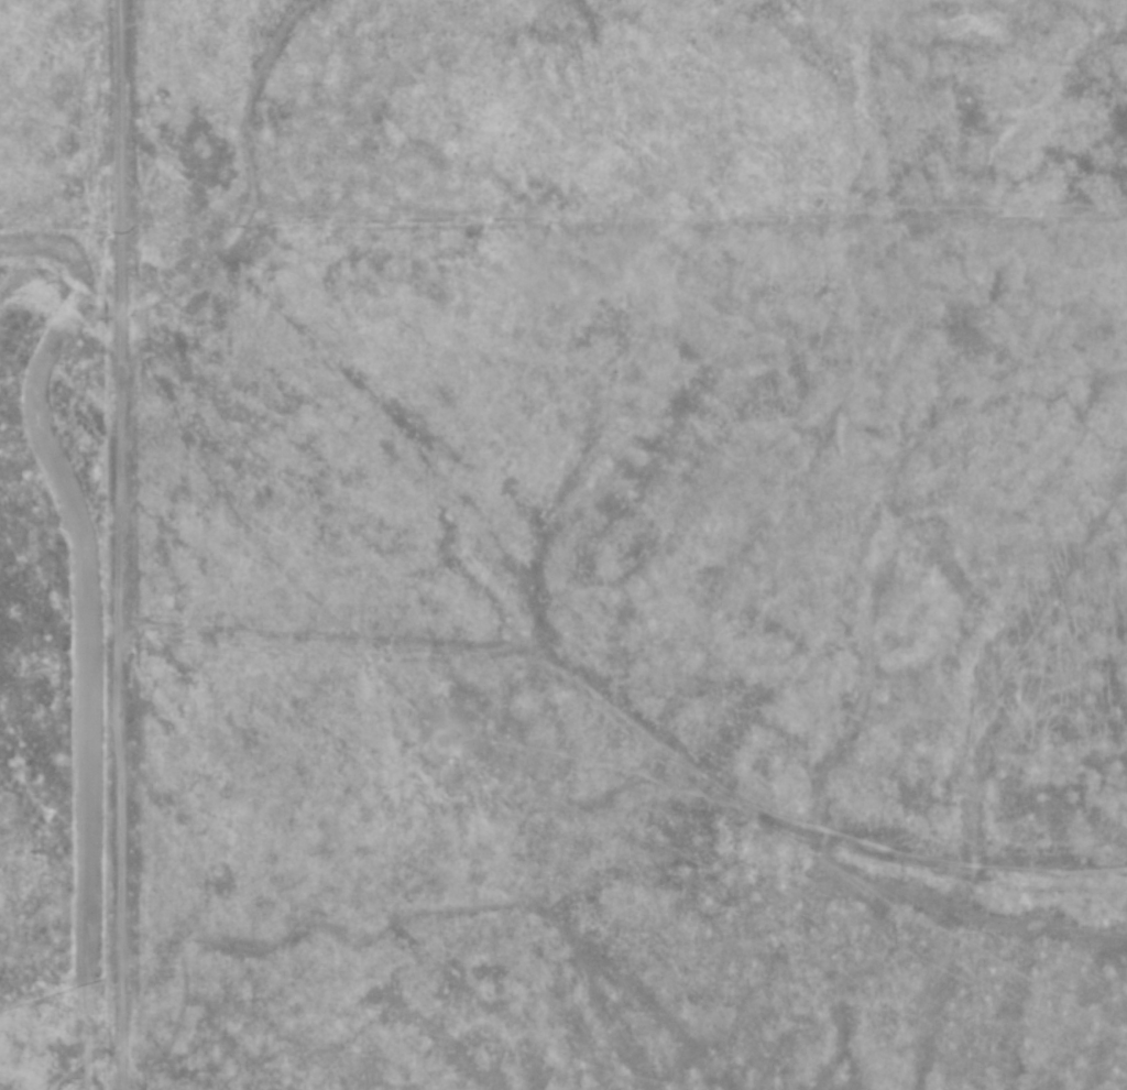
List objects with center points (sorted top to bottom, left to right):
road: (119, 545)
airport: (59, 664)
road: (634, 716)

